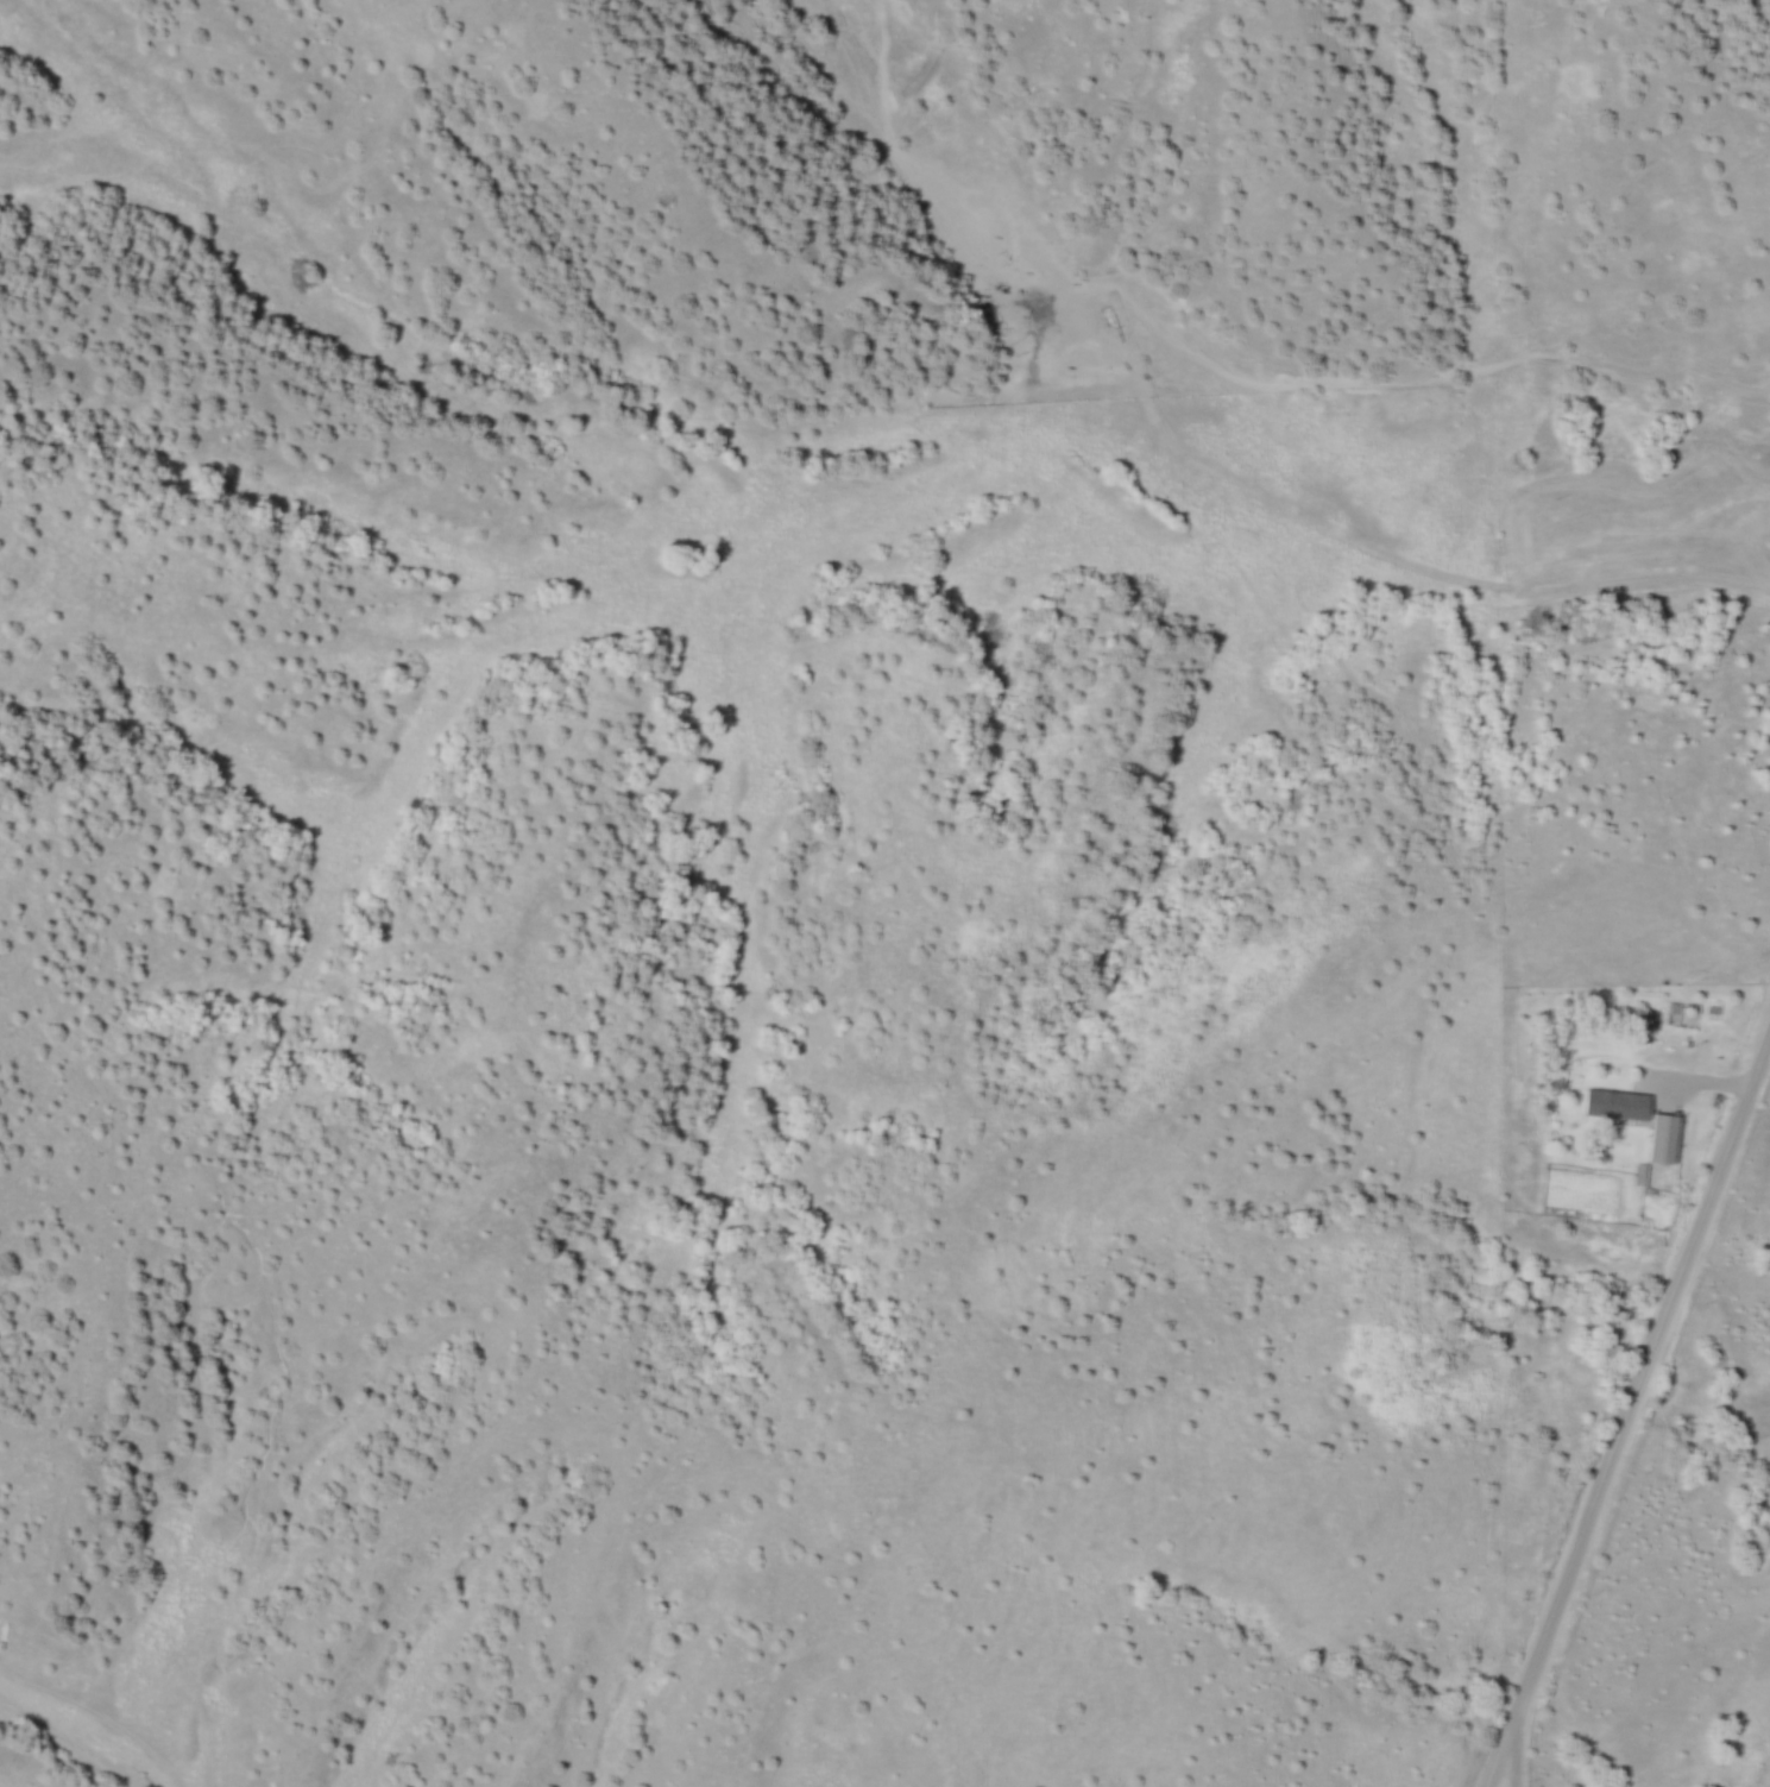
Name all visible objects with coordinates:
road: (1690, 1077)
building: (1612, 1102)
building: (1661, 1137)
building: (1639, 1172)
road: (1629, 1404)
road: (1514, 1749)

